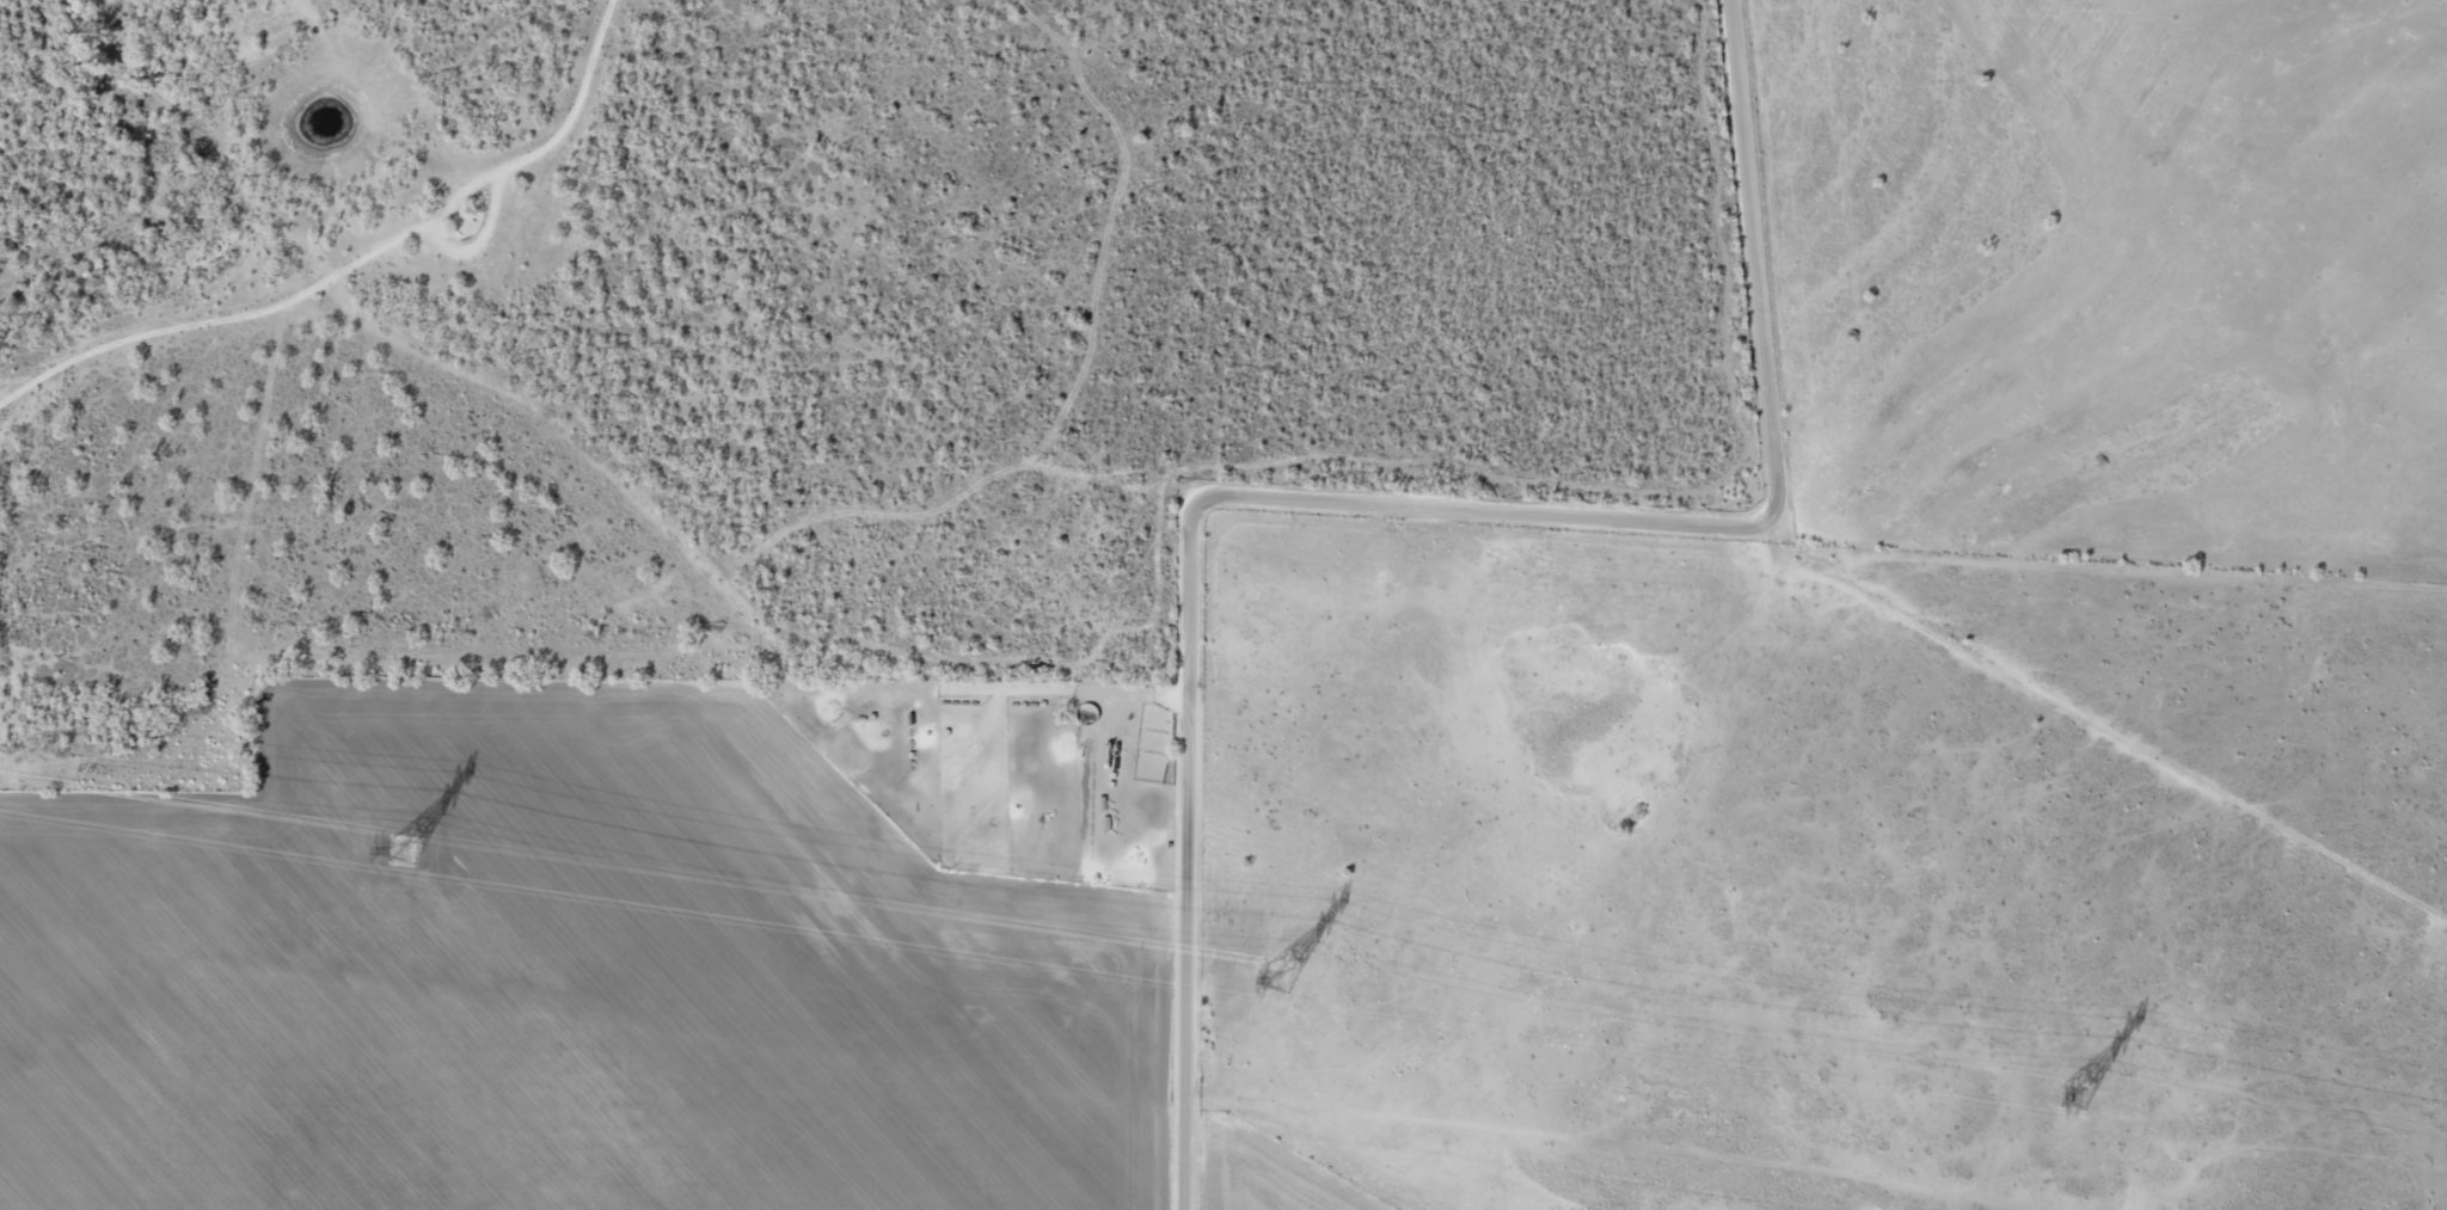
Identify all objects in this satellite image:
road: (1777, 247)
road: (390, 271)
road: (18, 367)
road: (18, 424)
road: (1267, 598)
power tower: (400, 852)
power tower: (1274, 978)
power tower: (2071, 1098)

